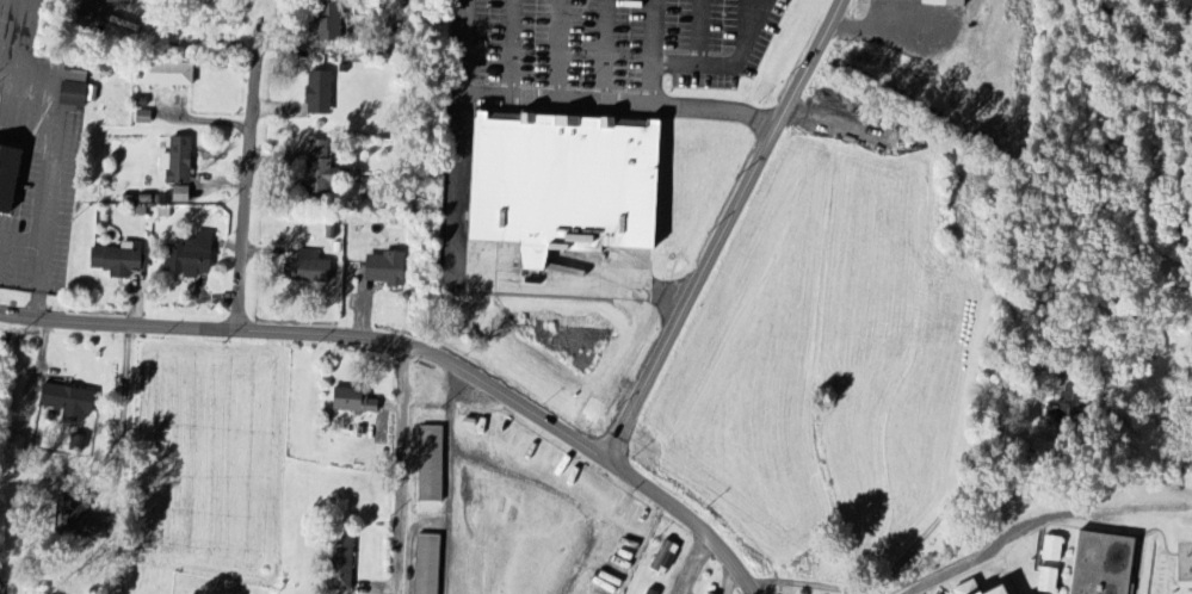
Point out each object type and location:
building: (122, 1)
building: (946, 2)
building: (331, 24)
road: (731, 64)
building: (78, 74)
building: (167, 75)
building: (321, 93)
building: (75, 95)
road: (668, 104)
road: (55, 130)
building: (178, 162)
building: (322, 171)
building: (10, 178)
road: (248, 180)
building: (568, 185)
building: (181, 194)
road: (730, 230)
road: (21, 239)
building: (192, 258)
building: (119, 260)
road: (453, 260)
building: (313, 268)
building: (385, 268)
road: (38, 280)
road: (418, 348)
building: (72, 402)
building: (354, 402)
building: (1066, 402)
road: (124, 407)
building: (19, 447)
building: (432, 465)
road: (400, 469)
road: (523, 477)
building: (86, 522)
building: (1052, 549)
building: (665, 558)
building: (342, 564)
building: (428, 564)
building: (1105, 564)
road: (694, 565)
road: (725, 574)
building: (1048, 581)
building: (970, 588)
building: (1006, 590)
building: (650, 592)
building: (704, 593)

